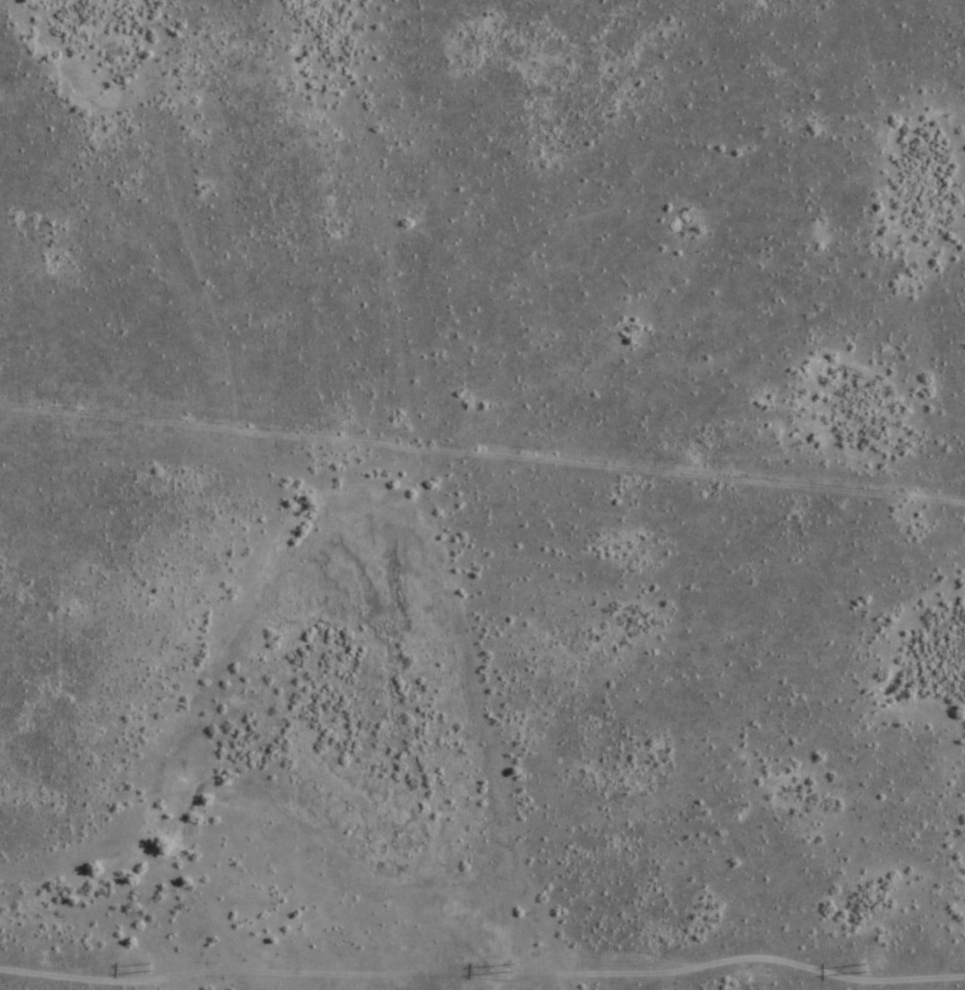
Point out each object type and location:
power tower: (508, 967)
power tower: (152, 968)
power tower: (867, 968)

